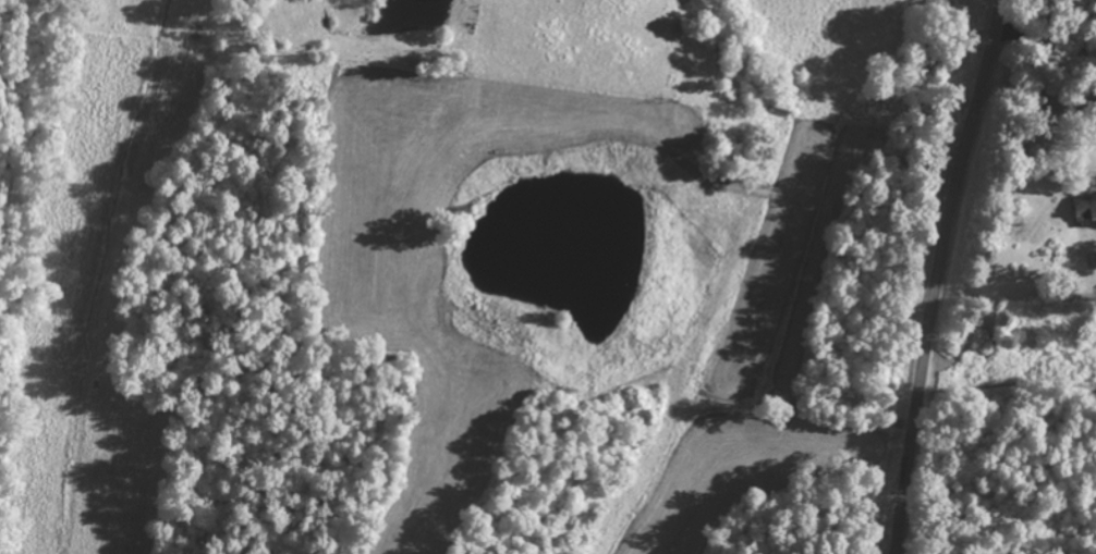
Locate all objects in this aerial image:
building: (1084, 206)
road: (936, 274)

